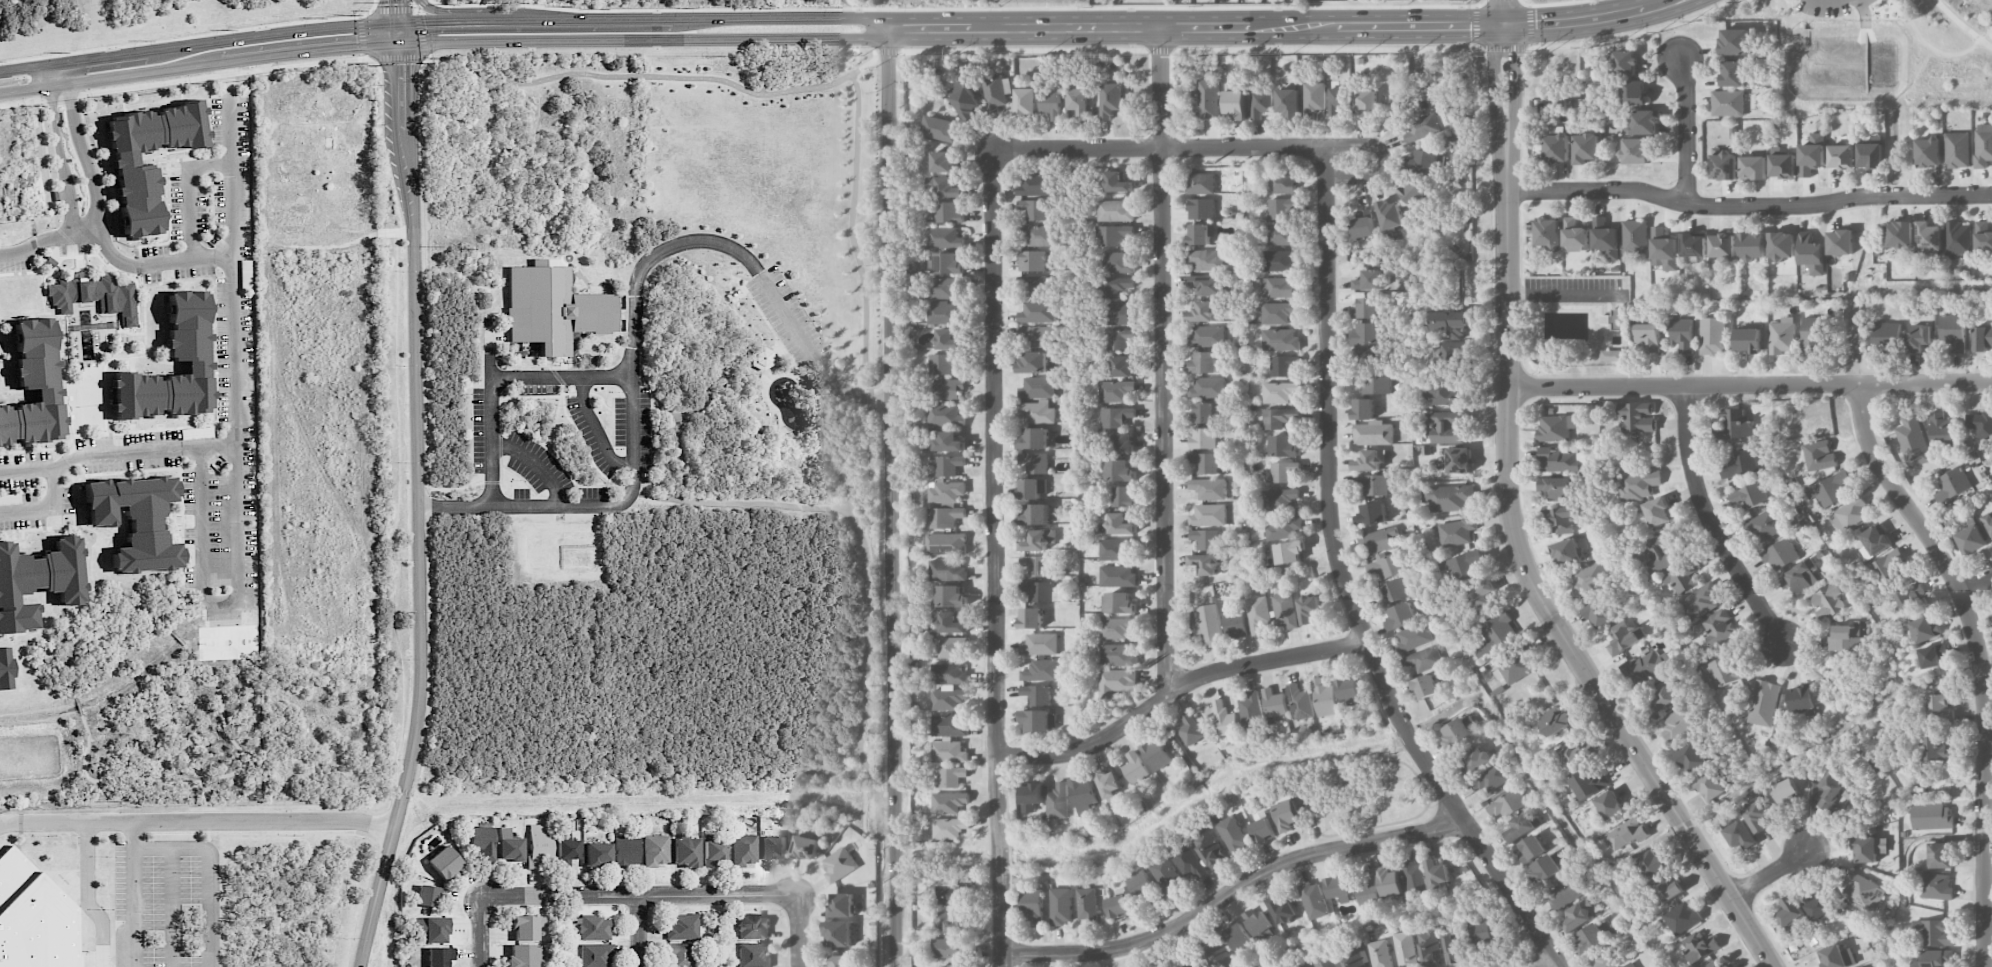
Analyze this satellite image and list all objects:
road: (1856, 1)
road: (1858, 1)
road: (1524, 2)
road: (1553, 2)
traffic signals: (400, 4)
road: (955, 8)
parking lot: (1834, 8)
road: (393, 10)
road: (400, 11)
road: (435, 11)
road: (1503, 13)
road: (1590, 18)
traffic signals: (425, 21)
road: (442, 21)
road: (1961, 24)
road: (1529, 25)
road: (1194, 26)
road: (1473, 26)
traffic signals: (1503, 26)
road: (419, 27)
road: (185, 37)
road: (361, 38)
building: (1735, 41)
road: (442, 42)
road: (1926, 43)
traffic signals: (357, 46)
road: (1287, 49)
park: (1881, 53)
building: (1625, 62)
traffic signals: (401, 64)
building: (1732, 73)
road: (57, 74)
road: (625, 75)
road: (200, 78)
building: (994, 92)
building: (1634, 92)
building: (1208, 96)
building: (1314, 96)
building: (1109, 99)
building: (1365, 99)
building: (964, 100)
building: (1235, 100)
building: (1337, 100)
building: (1023, 101)
building: (1077, 102)
building: (1288, 102)
building: (1260, 103)
building: (1727, 103)
building: (1050, 105)
building: (1643, 122)
building: (1421, 127)
building: (939, 128)
road: (1685, 129)
building: (1553, 131)
building: (1983, 145)
road: (1157, 146)
building: (1556, 148)
building: (1585, 148)
building: (1957, 149)
building: (1635, 151)
building: (1928, 152)
road: (84, 154)
building: (1811, 154)
building: (1870, 155)
building: (1841, 157)
road: (59, 158)
road: (1384, 160)
building: (1425, 160)
building: (942, 161)
building: (1781, 163)
building: (1723, 166)
building: (1752, 168)
building: (1117, 182)
building: (1282, 182)
building: (1201, 183)
building: (1033, 184)
building: (942, 187)
road: (189, 191)
building: (1415, 193)
building: (137, 197)
road: (1748, 206)
building: (1201, 208)
building: (1282, 208)
building: (1033, 209)
building: (1114, 211)
building: (947, 212)
building: (1390, 214)
building: (1363, 224)
building: (1547, 232)
road: (67, 234)
road: (849, 234)
building: (1199, 234)
building: (1281, 234)
building: (1899, 234)
building: (1037, 235)
building: (1113, 235)
building: (1575, 236)
building: (1635, 236)
building: (1983, 236)
building: (1606, 237)
building: (1928, 237)
building: (945, 238)
building: (1958, 239)
building: (1839, 242)
building: (1722, 245)
building: (1781, 245)
building: (1694, 246)
building: (1752, 246)
building: (1664, 249)
road: (19, 250)
building: (1811, 253)
road: (113, 254)
road: (185, 258)
building: (1205, 259)
building: (1031, 260)
building: (1278, 261)
building: (1117, 262)
building: (948, 263)
building: (1368, 280)
building: (1204, 284)
building: (1117, 286)
building: (1278, 287)
building: (943, 288)
building: (96, 295)
road: (1567, 295)
building: (553, 308)
building: (1366, 308)
building: (943, 312)
building: (1037, 312)
building: (1202, 312)
building: (1278, 312)
building: (1118, 314)
building: (1615, 318)
parking lot: (788, 319)
road: (636, 322)
building: (1450, 323)
building: (187, 326)
building: (1814, 331)
building: (1953, 331)
building: (1367, 333)
building: (1682, 333)
building: (1887, 334)
building: (1035, 335)
building: (1712, 335)
building: (1782, 335)
building: (1208, 336)
building: (1648, 336)
building: (1918, 337)
building: (1118, 338)
building: (1982, 338)
building: (1280, 339)
building: (948, 340)
building: (1748, 340)
road: (777, 351)
building: (1449, 352)
building: (1369, 354)
building: (1611, 355)
building: (760, 357)
road: (1162, 360)
building: (1033, 362)
building: (1203, 362)
building: (942, 364)
building: (1121, 365)
building: (1283, 365)
road: (561, 376)
road: (709, 382)
building: (1376, 383)
building: (32, 385)
road: (1749, 386)
building: (1037, 387)
building: (1207, 387)
building: (948, 389)
building: (1115, 390)
building: (1279, 391)
building: (1442, 393)
building: (1363, 408)
road: (490, 411)
building: (1037, 412)
building: (1205, 412)
building: (945, 415)
building: (1637, 416)
building: (1116, 417)
building: (1279, 417)
road: (679, 423)
building: (1980, 424)
building: (1734, 426)
road: (596, 427)
building: (1447, 427)
building: (1556, 427)
building: (1941, 427)
park: (683, 428)
building: (1373, 433)
road: (235, 437)
parking lot: (560, 437)
building: (1034, 438)
building: (1203, 438)
building: (1912, 441)
building: (948, 442)
building: (1122, 443)
building: (1284, 446)
road: (96, 454)
building: (1819, 455)
building: (1370, 460)
building: (1459, 460)
building: (1561, 460)
building: (1035, 462)
building: (1204, 462)
building: (1742, 463)
road: (535, 464)
building: (949, 465)
road: (29, 469)
building: (1120, 470)
building: (1283, 471)
building: (1638, 484)
building: (1952, 484)
building: (1376, 485)
building: (1031, 488)
building: (1209, 488)
building: (1555, 488)
building: (1831, 489)
building: (947, 492)
building: (1125, 496)
building: (1748, 496)
road: (420, 497)
road: (891, 497)
building: (1447, 497)
building: (1279, 498)
road: (739, 502)
building: (1657, 511)
building: (1372, 513)
building: (1034, 515)
building: (1208, 515)
building: (1850, 515)
building: (945, 517)
building: (135, 519)
building: (1560, 519)
building: (1987, 523)
building: (1120, 524)
building: (1768, 524)
road: (1709, 525)
building: (1283, 526)
building: (1456, 531)
road: (1513, 532)
building: (1206, 539)
building: (1970, 539)
building: (1038, 540)
building: (1377, 540)
building: (1874, 540)
building: (946, 543)
building: (1115, 548)
building: (1287, 551)
building: (1565, 551)
building: (1780, 554)
road: (994, 557)
building: (1205, 563)
building: (1036, 565)
building: (1461, 565)
building: (1889, 565)
building: (1389, 566)
building: (948, 569)
building: (1117, 575)
building: (1588, 577)
building: (1681, 577)
building: (1799, 577)
building: (37, 581)
road: (865, 581)
road: (1344, 584)
road: (1977, 586)
building: (1041, 591)
building: (1391, 591)
building: (1480, 594)
building: (951, 596)
building: (1910, 598)
building: (1700, 601)
building: (1828, 601)
building: (1118, 603)
building: (1308, 608)
building: (1285, 609)
building: (1597, 613)
building: (1258, 614)
building: (1401, 615)
building: (1990, 616)
building: (1031, 618)
building: (951, 623)
building: (1208, 624)
building: (1235, 624)
building: (1117, 627)
building: (1719, 627)
building: (1924, 629)
building: (1498, 630)
building: (1414, 636)
building: (1623, 636)
building: (1847, 637)
building: (1040, 644)
building: (1118, 655)
building: (1932, 655)
building: (1423, 659)
road: (1981, 660)
building: (949, 662)
building: (1643, 665)
building: (6, 668)
building: (1041, 670)
building: (1723, 671)
building: (1116, 682)
building: (1425, 686)
road: (1176, 690)
building: (1349, 690)
building: (1036, 693)
building: (1664, 696)
building: (947, 698)
building: (1324, 698)
building: (1801, 700)
building: (1299, 702)
building: (1274, 703)
building: (1764, 703)
building: (1938, 706)
building: (1251, 711)
building: (1225, 719)
building: (1039, 720)
building: (1555, 720)
building: (1676, 724)
building: (949, 725)
building: (1190, 730)
building: (1458, 732)
road: (1989, 743)
building: (1937, 749)
building: (1155, 754)
building: (1571, 754)
building: (1690, 757)
building: (1474, 760)
building: (1135, 767)
building: (951, 776)
building: (1490, 778)
building: (1589, 782)
building: (1832, 785)
building: (1109, 786)
building: (1710, 786)
building: (1786, 794)
building: (1083, 795)
building: (1030, 797)
building: (948, 802)
building: (1057, 802)
building: (1506, 802)
building: (1609, 805)
building: (1756, 815)
building: (1286, 816)
road: (197, 821)
building: (1521, 826)
building: (949, 827)
building: (1263, 830)
building: (1232, 834)
building: (1740, 835)
building: (1619, 837)
building: (480, 840)
building: (508, 845)
building: (538, 846)
building: (773, 847)
building: (806, 847)
building: (1209, 848)
building: (655, 849)
building: (743, 849)
building: (1531, 849)
building: (1867, 849)
building: (566, 850)
building: (626, 851)
building: (685, 852)
building: (713, 853)
building: (597, 854)
building: (1940, 855)
building: (444, 863)
building: (1188, 863)
building: (839, 864)
building: (1650, 864)
building: (1545, 868)
road: (210, 870)
building: (1165, 873)
building: (1437, 873)
road: (1770, 877)
building: (1415, 879)
building: (1389, 884)
building: (1141, 885)
building: (1935, 886)
building: (1338, 889)
building: (1367, 889)
building: (1667, 890)
building: (953, 892)
road: (1233, 892)
building: (1863, 892)
building: (1564, 893)
road: (133, 894)
road: (641, 894)
building: (427, 895)
building: (1313, 900)
parking lot: (165, 902)
building: (1087, 903)
building: (842, 905)
building: (1032, 906)
building: (1061, 906)
building: (1119, 906)
road: (172, 907)
building: (1821, 908)
building: (1282, 909)
building: (1790, 911)
building: (1579, 914)
building: (32, 917)
building: (1681, 917)
road: (1989, 918)
building: (952, 921)
building: (1259, 924)
building: (683, 926)
building: (752, 926)
building: (527, 927)
building: (593, 928)
building: (430, 930)
road: (799, 930)
road: (483, 931)
road: (640, 931)
building: (1482, 932)
building: (1932, 932)
building: (838, 933)
building: (1238, 935)
building: (1589, 938)
building: (1700, 946)
building: (951, 947)
building: (1430, 947)
building: (1454, 947)
building: (1405, 949)
building: (1380, 953)
building: (596, 954)
building: (680, 955)
building: (753, 955)
building: (1356, 955)
building: (439, 956)
building: (1836, 957)
building: (1606, 958)
building: (1934, 958)
building: (1325, 960)
building: (840, 961)
building: (1302, 964)
building: (1713, 964)
building: (953, 965)
building: (1630, 965)
building: (1729, 965)
building: (1162, 966)

